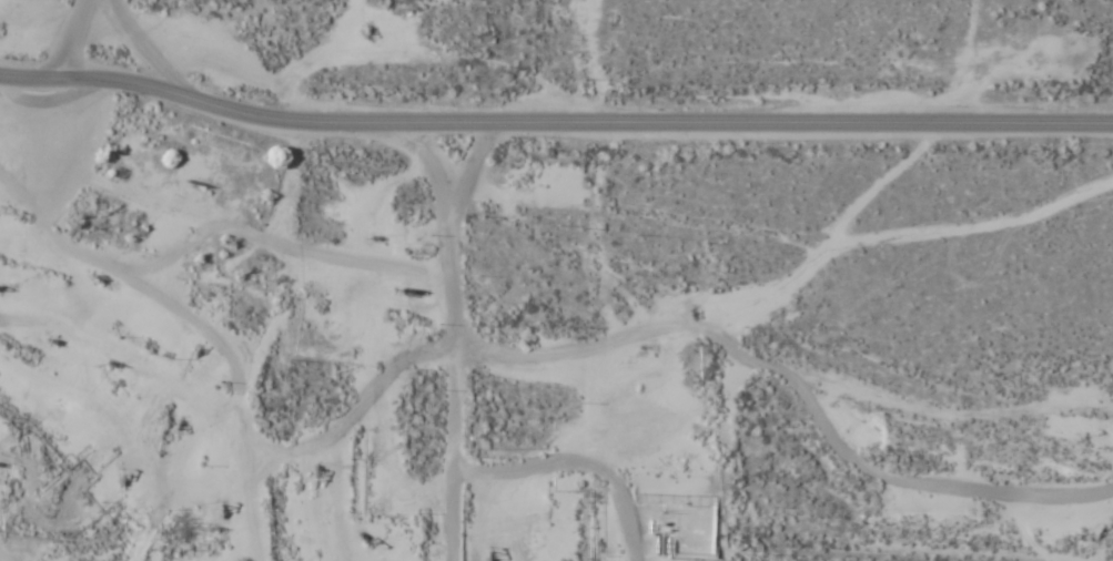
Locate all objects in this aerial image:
road: (59, 70)
road: (554, 122)
road: (457, 336)
road: (152, 542)

